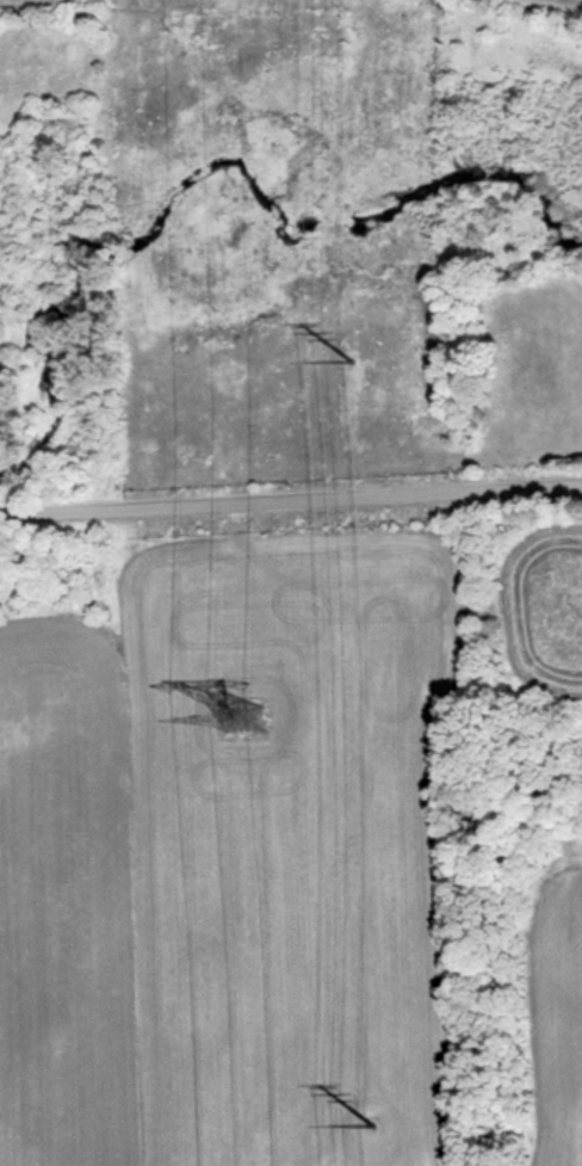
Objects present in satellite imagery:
power tower: (354, 357)
road: (290, 491)
power tower: (242, 727)
power tower: (391, 1117)

